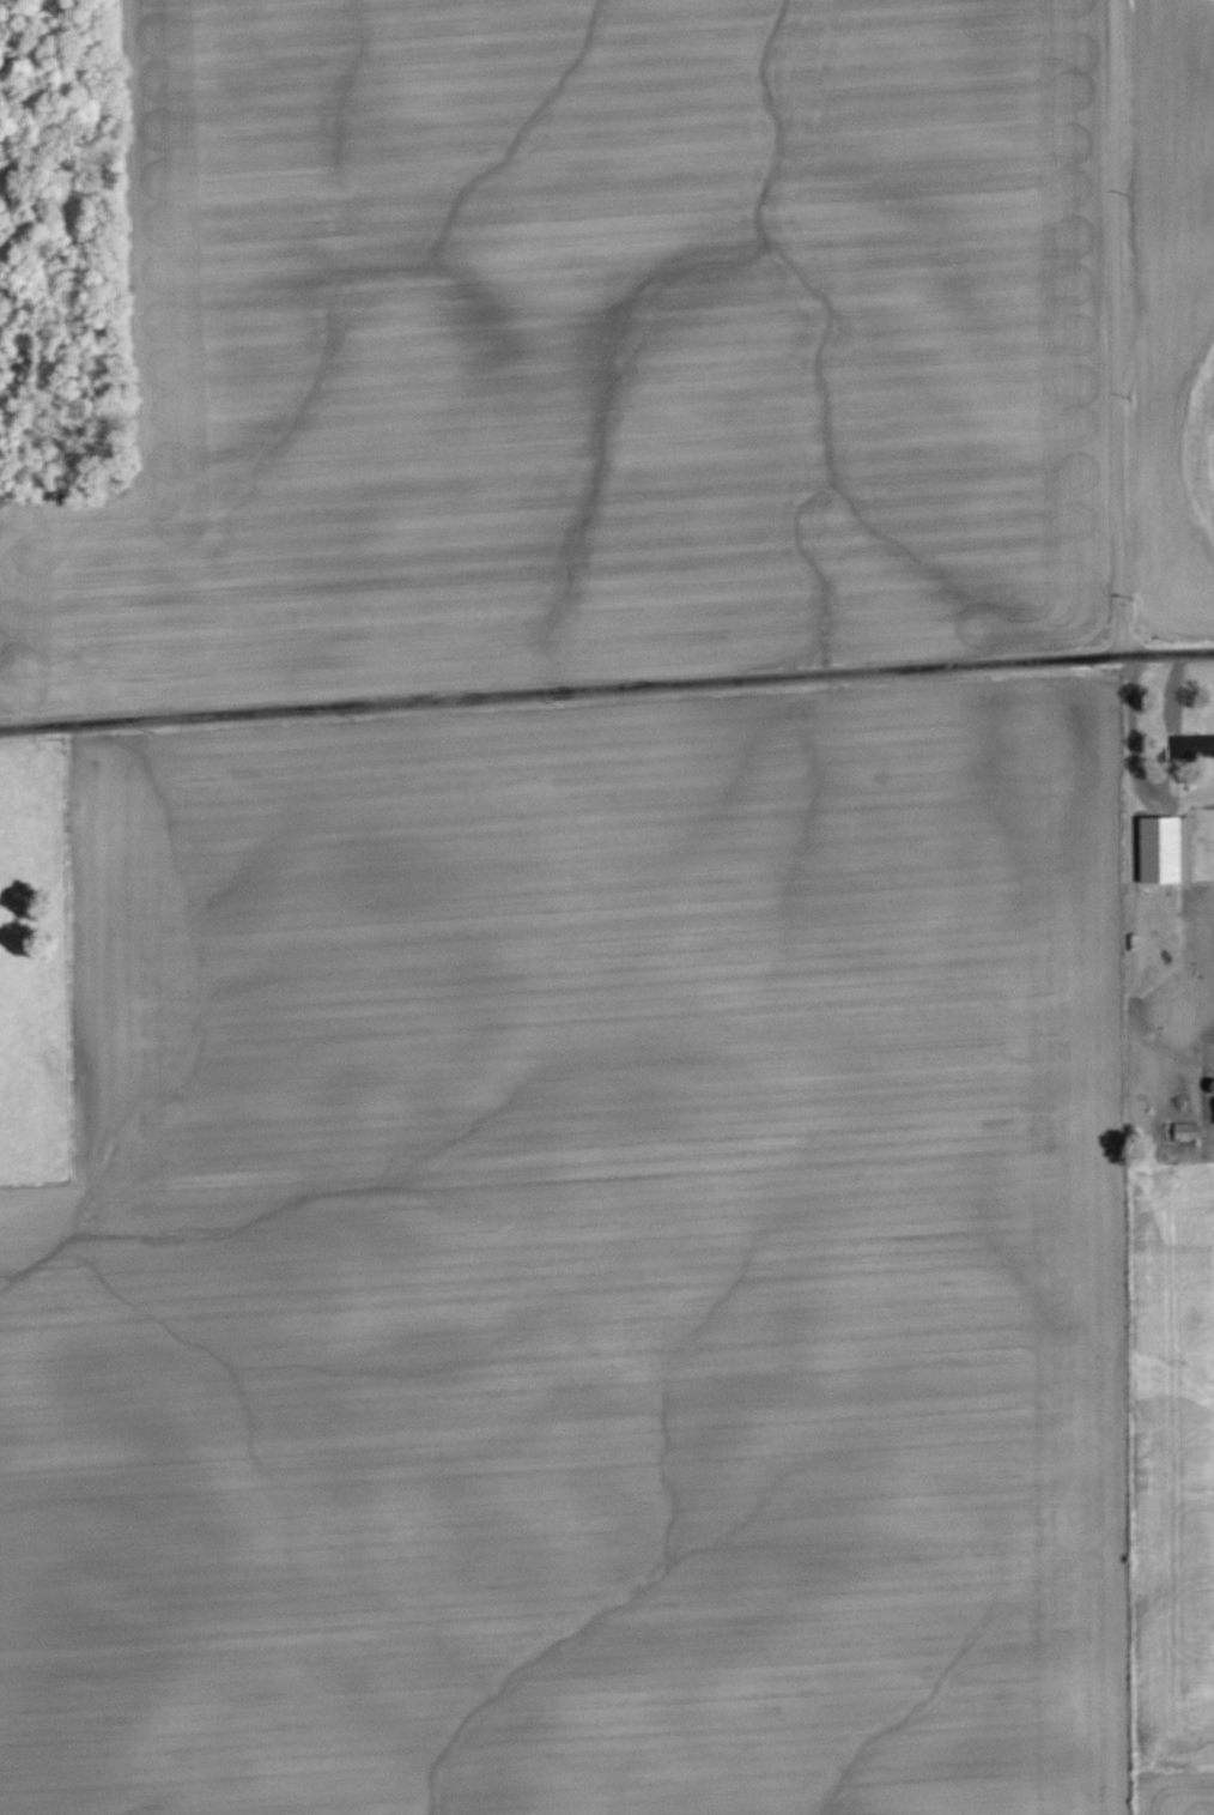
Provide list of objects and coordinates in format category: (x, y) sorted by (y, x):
road: (1123, 327)
road: (606, 689)
building: (1164, 851)
building: (1185, 1131)

